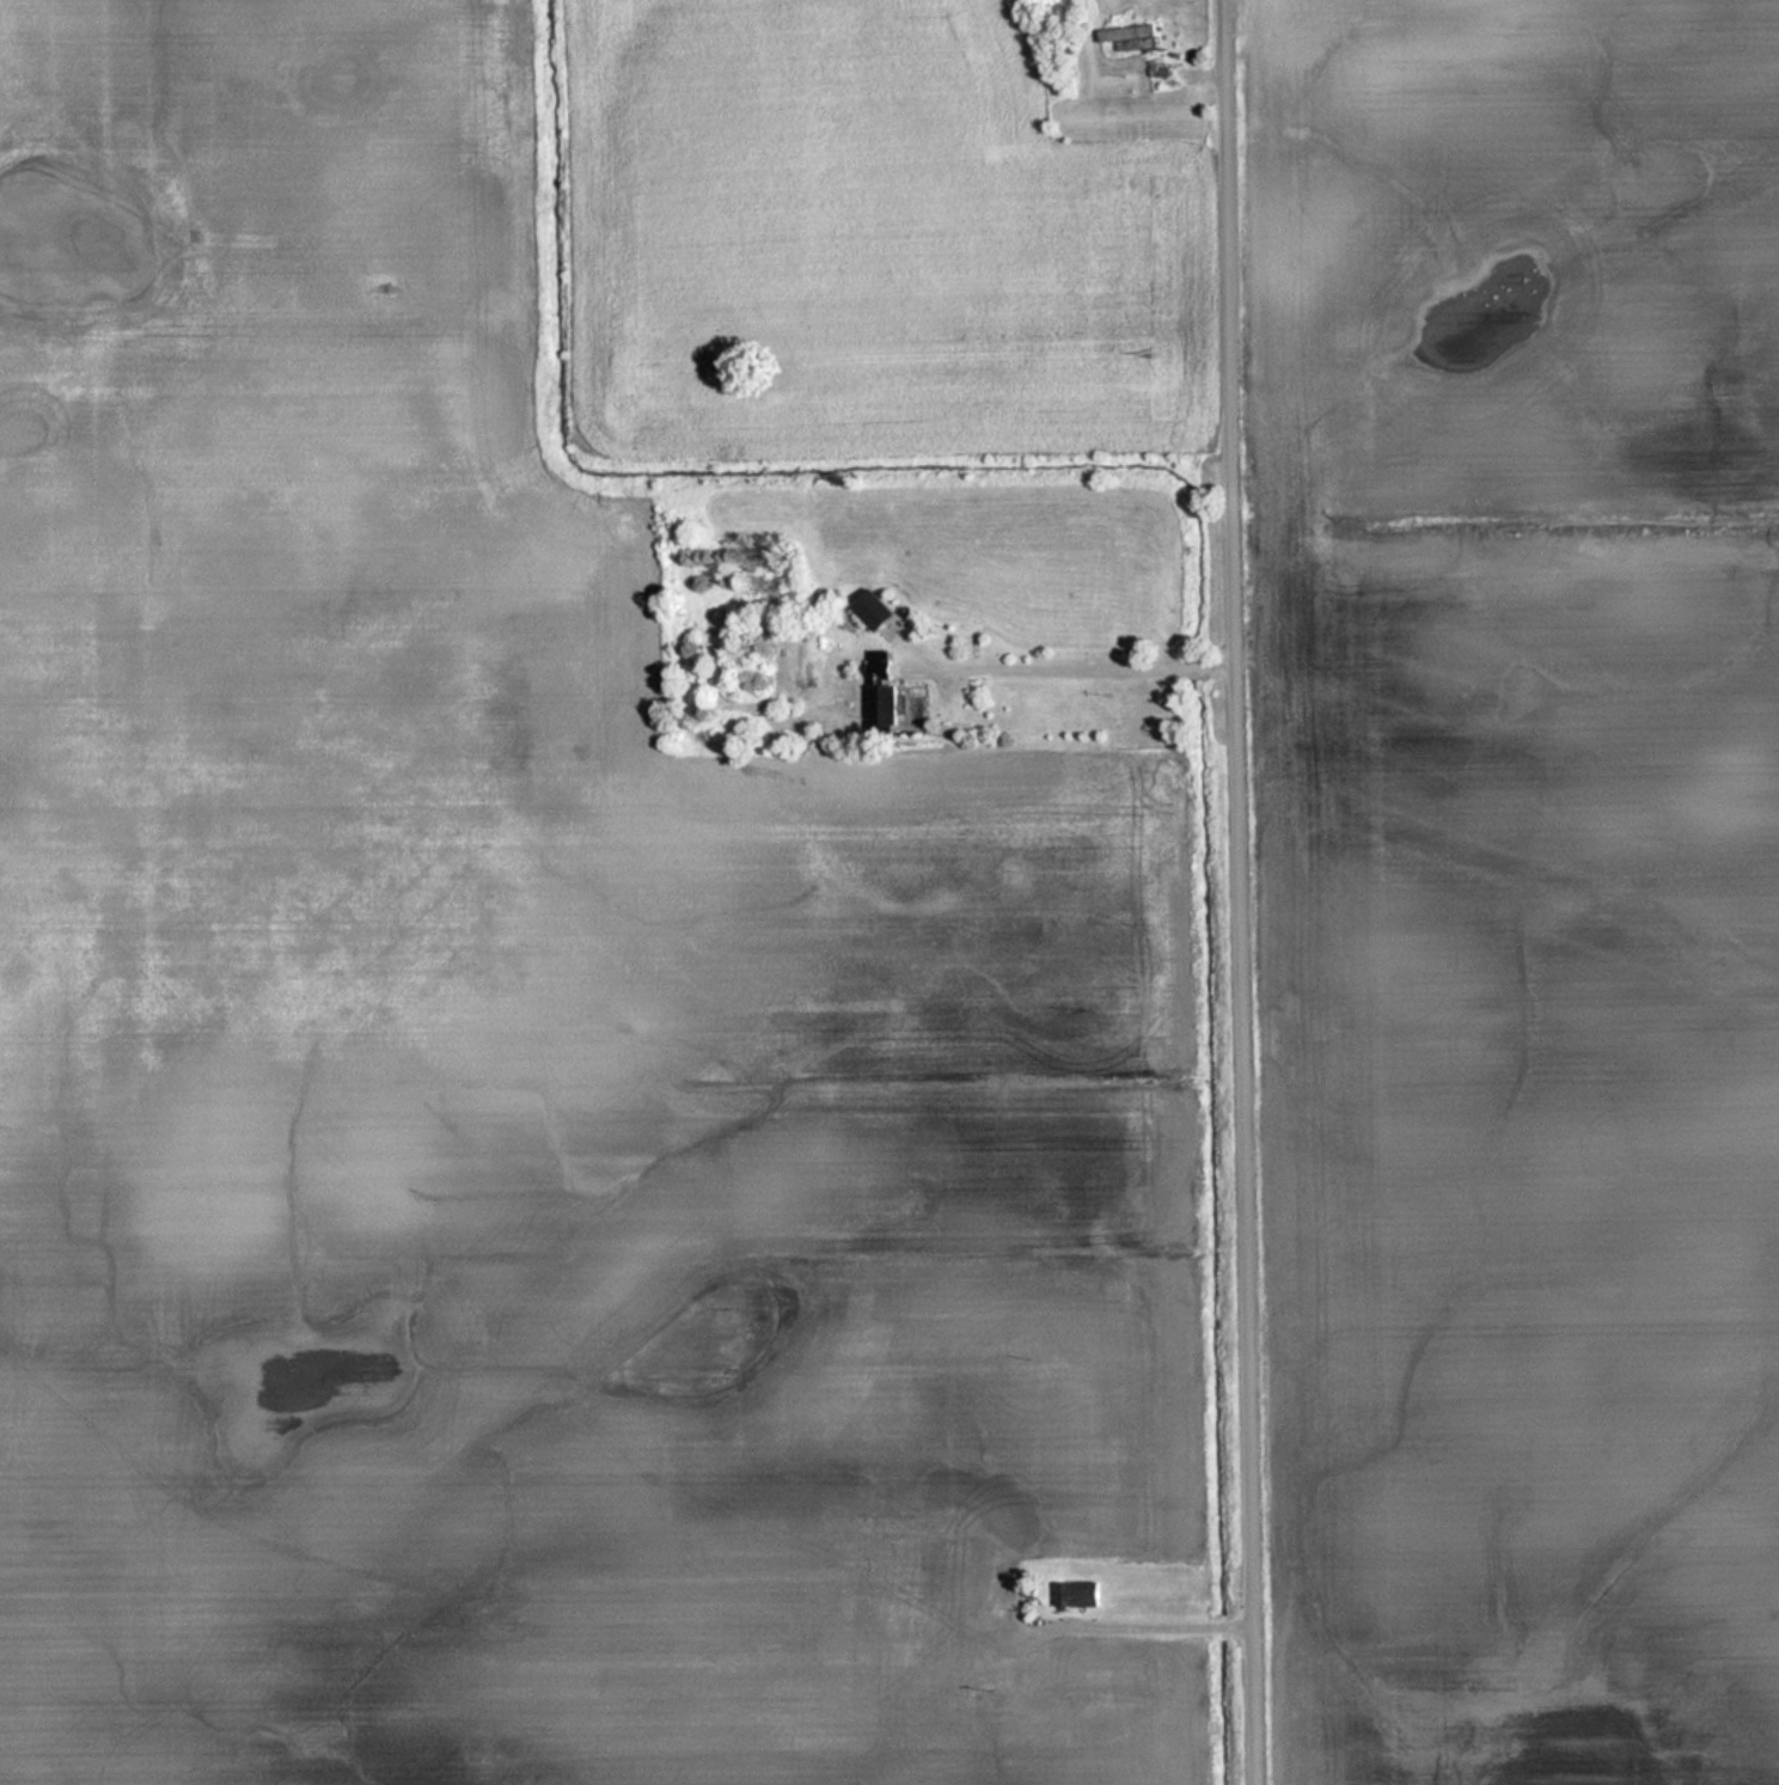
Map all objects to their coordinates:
building: (1133, 38)
building: (1159, 71)
building: (878, 610)
building: (884, 689)
road: (1245, 892)
building: (1080, 1595)

